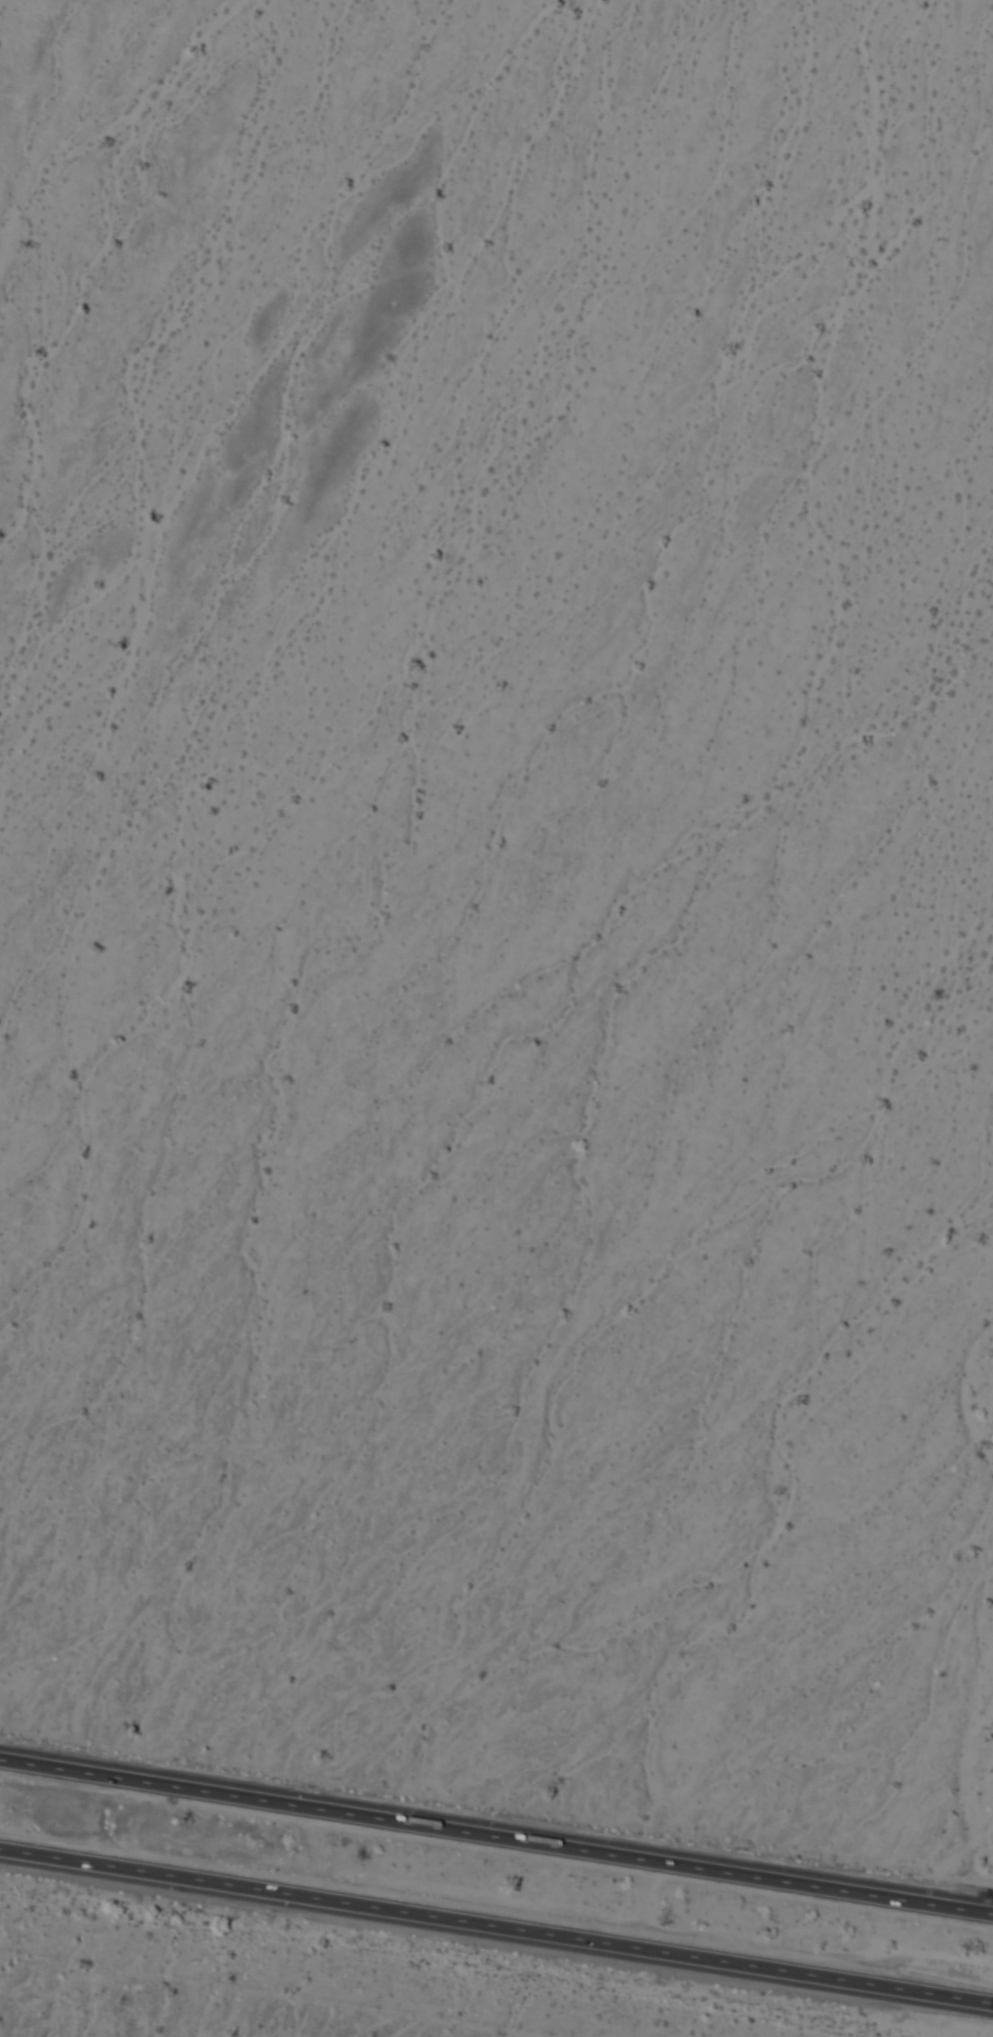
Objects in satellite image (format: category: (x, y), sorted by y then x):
road: (496, 1831)
road: (496, 1930)

